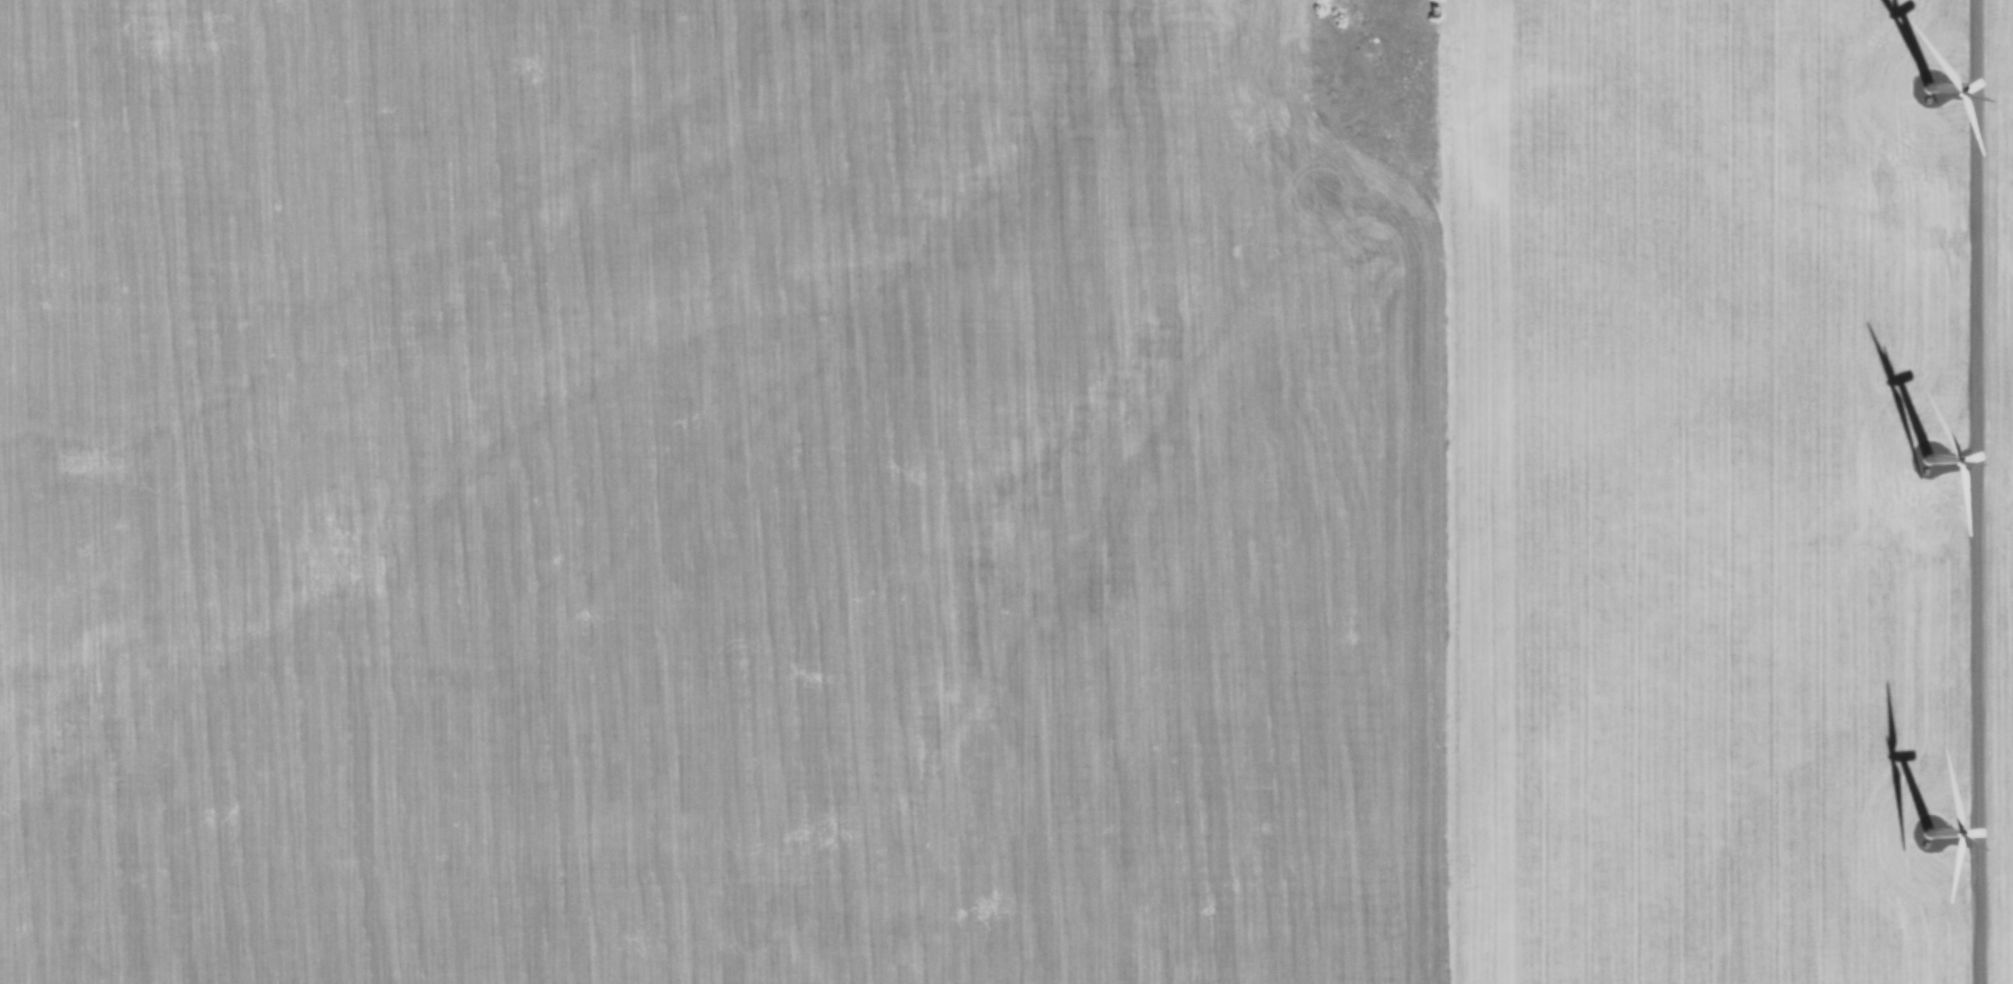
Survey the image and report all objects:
wind turbine: (1948, 87)
wind turbine: (1944, 461)
road: (1973, 492)
wind turbine: (1934, 826)

